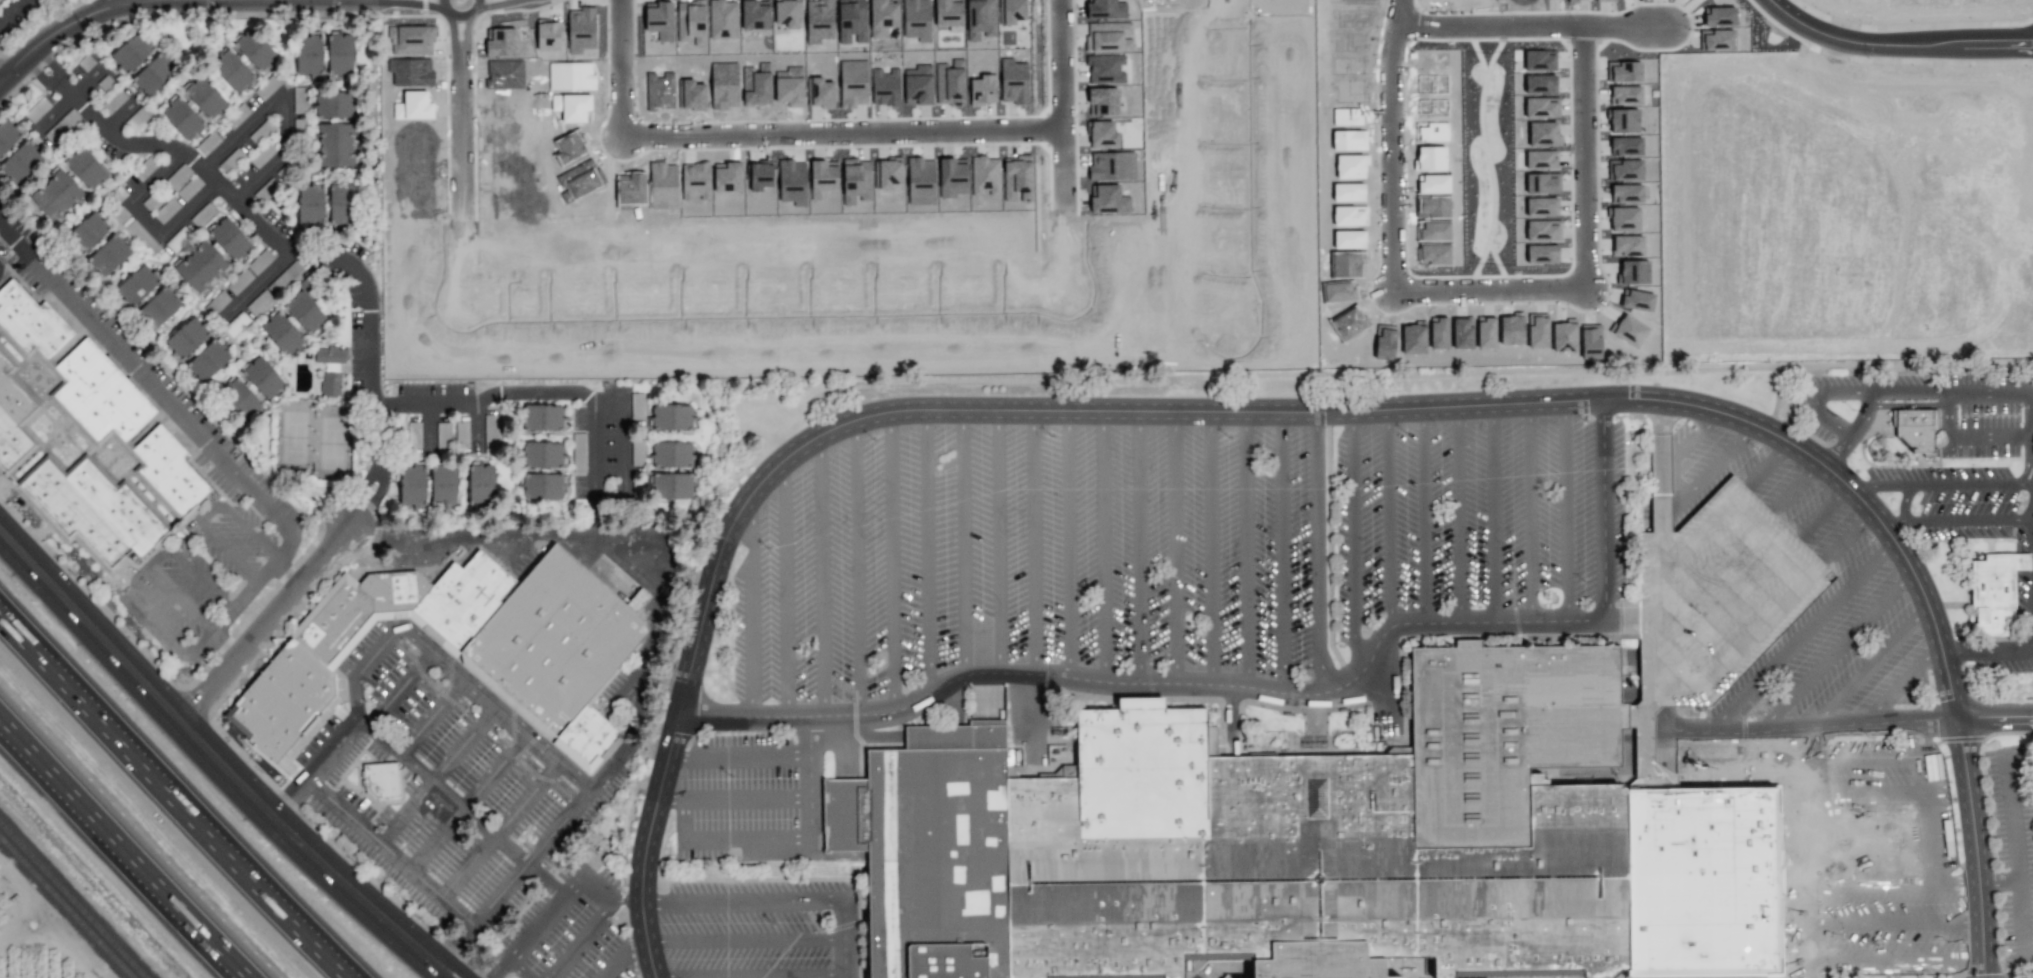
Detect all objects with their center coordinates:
building: (0, 0)
road: (444, 0)
building: (1577, 0)
building: (1605, 0)
road: (113, 4)
road: (214, 4)
building: (1105, 9)
road: (11, 10)
road: (475, 12)
road: (450, 13)
building: (787, 13)
building: (1014, 13)
building: (949, 14)
building: (753, 15)
building: (1718, 16)
building: (659, 19)
building: (722, 19)
building: (883, 19)
building: (980, 19)
building: (917, 20)
building: (818, 21)
building: (691, 22)
building: (851, 22)
road: (1493, 26)
road: (1621, 26)
building: (582, 31)
building: (548, 35)
building: (1107, 37)
building: (410, 40)
building: (1715, 40)
building: (499, 42)
road: (1896, 47)
building: (254, 49)
building: (132, 52)
building: (340, 54)
building: (308, 55)
building: (1539, 60)
road: (618, 64)
building: (1104, 69)
building: (232, 71)
building: (1623, 71)
building: (154, 74)
road: (53, 80)
building: (1013, 82)
building: (852, 84)
building: (949, 84)
building: (1539, 84)
building: (724, 86)
building: (756, 87)
building: (789, 87)
building: (885, 87)
building: (982, 89)
building: (821, 91)
building: (691, 95)
building: (1624, 95)
building: (204, 97)
road: (67, 99)
building: (299, 100)
building: (1102, 101)
building: (334, 105)
building: (1541, 108)
building: (36, 110)
road: (460, 111)
building: (236, 116)
building: (181, 118)
road: (285, 120)
building: (1622, 120)
building: (61, 127)
road: (243, 131)
building: (261, 132)
road: (844, 134)
building: (1542, 134)
building: (7, 135)
building: (1102, 135)
building: (207, 144)
building: (335, 145)
building: (1625, 146)
building: (1541, 160)
building: (20, 162)
road: (1230, 163)
building: (1110, 166)
building: (84, 167)
building: (1627, 170)
building: (1020, 172)
road: (259, 173)
building: (888, 174)
building: (759, 176)
building: (823, 176)
building: (985, 176)
road: (156, 177)
building: (952, 177)
building: (727, 178)
building: (854, 179)
building: (920, 181)
building: (1541, 183)
building: (188, 188)
building: (1626, 194)
building: (55, 195)
building: (1107, 199)
building: (310, 205)
building: (341, 205)
road: (186, 207)
building: (1540, 207)
building: (166, 210)
road: (144, 218)
building: (1624, 220)
building: (1541, 231)
building: (87, 233)
building: (141, 238)
building: (229, 239)
building: (175, 241)
building: (1627, 245)
road: (278, 246)
building: (1541, 254)
building: (108, 256)
building: (201, 267)
building: (1633, 271)
building: (136, 286)
road: (257, 286)
road: (1480, 289)
road: (862, 295)
building: (1637, 300)
building: (258, 303)
building: (159, 308)
building: (304, 308)
building: (1510, 329)
building: (1629, 331)
building: (1537, 332)
building: (281, 333)
building: (1438, 333)
building: (1485, 333)
building: (1461, 334)
building: (1563, 336)
building: (186, 338)
building: (1589, 343)
building: (208, 361)
building: (329, 368)
building: (262, 378)
road: (1954, 390)
road: (599, 397)
building: (239, 399)
road: (426, 405)
building: (637, 406)
road: (1045, 410)
road: (1822, 413)
building: (541, 417)
building: (672, 417)
road: (428, 427)
road: (477, 427)
building: (1914, 428)
building: (490, 432)
building: (442, 433)
road: (198, 435)
building: (414, 435)
road: (1965, 436)
road: (1833, 448)
road: (594, 449)
building: (85, 451)
road: (1680, 451)
building: (637, 453)
road: (2030, 454)
building: (542, 455)
building: (670, 455)
road: (1768, 462)
road: (1714, 465)
road: (381, 470)
road: (1938, 483)
building: (481, 484)
road: (1844, 484)
road: (1797, 485)
building: (443, 486)
building: (542, 486)
building: (669, 486)
road: (2032, 492)
road: (1904, 503)
road: (1565, 510)
road: (1824, 510)
road: (1529, 511)
road: (1493, 512)
road: (1458, 514)
road: (1423, 515)
road: (235, 518)
road: (358, 518)
road: (1387, 518)
road: (1954, 520)
road: (1849, 536)
road: (503, 537)
road: (1352, 540)
road: (962, 542)
road: (998, 542)
road: (1033, 542)
road: (1067, 543)
road: (1102, 546)
road: (1138, 548)
road: (1174, 548)
road: (1210, 548)
road: (1246, 549)
road: (2032, 550)
road: (227, 551)
road: (926, 552)
road: (1280, 552)
road: (1316, 552)
road: (891, 562)
road: (145, 568)
road: (857, 568)
road: (288, 573)
road: (820, 576)
road: (784, 587)
building: (1994, 593)
road: (180, 599)
road: (750, 606)
road: (263, 624)
road: (1801, 639)
road: (224, 642)
building: (460, 648)
road: (1987, 650)
road: (1834, 652)
road: (1869, 668)
road: (456, 671)
road: (1900, 685)
road: (399, 689)
road: (1261, 690)
road: (431, 716)
road: (1994, 717)
road: (1816, 727)
road: (621, 754)
road: (215, 756)
road: (738, 756)
road: (1866, 756)
road: (314, 768)
road: (495, 771)
road: (437, 774)
road: (809, 777)
building: (380, 780)
road: (1835, 797)
road: (732, 799)
road: (1929, 802)
road: (461, 808)
road: (166, 813)
road: (499, 829)
road: (725, 840)
road: (437, 841)
road: (1889, 841)
building: (1322, 844)
road: (645, 846)
road: (1973, 847)
road: (125, 853)
road: (390, 853)
road: (2014, 855)
road: (1912, 884)
road: (742, 902)
road: (556, 907)
railway: (55, 919)
railway: (55, 920)
road: (1894, 922)
road: (1806, 932)
road: (583, 938)
road: (844, 939)
road: (745, 942)
road: (624, 955)
road: (1894, 959)
road: (517, 970)
road: (749, 975)

